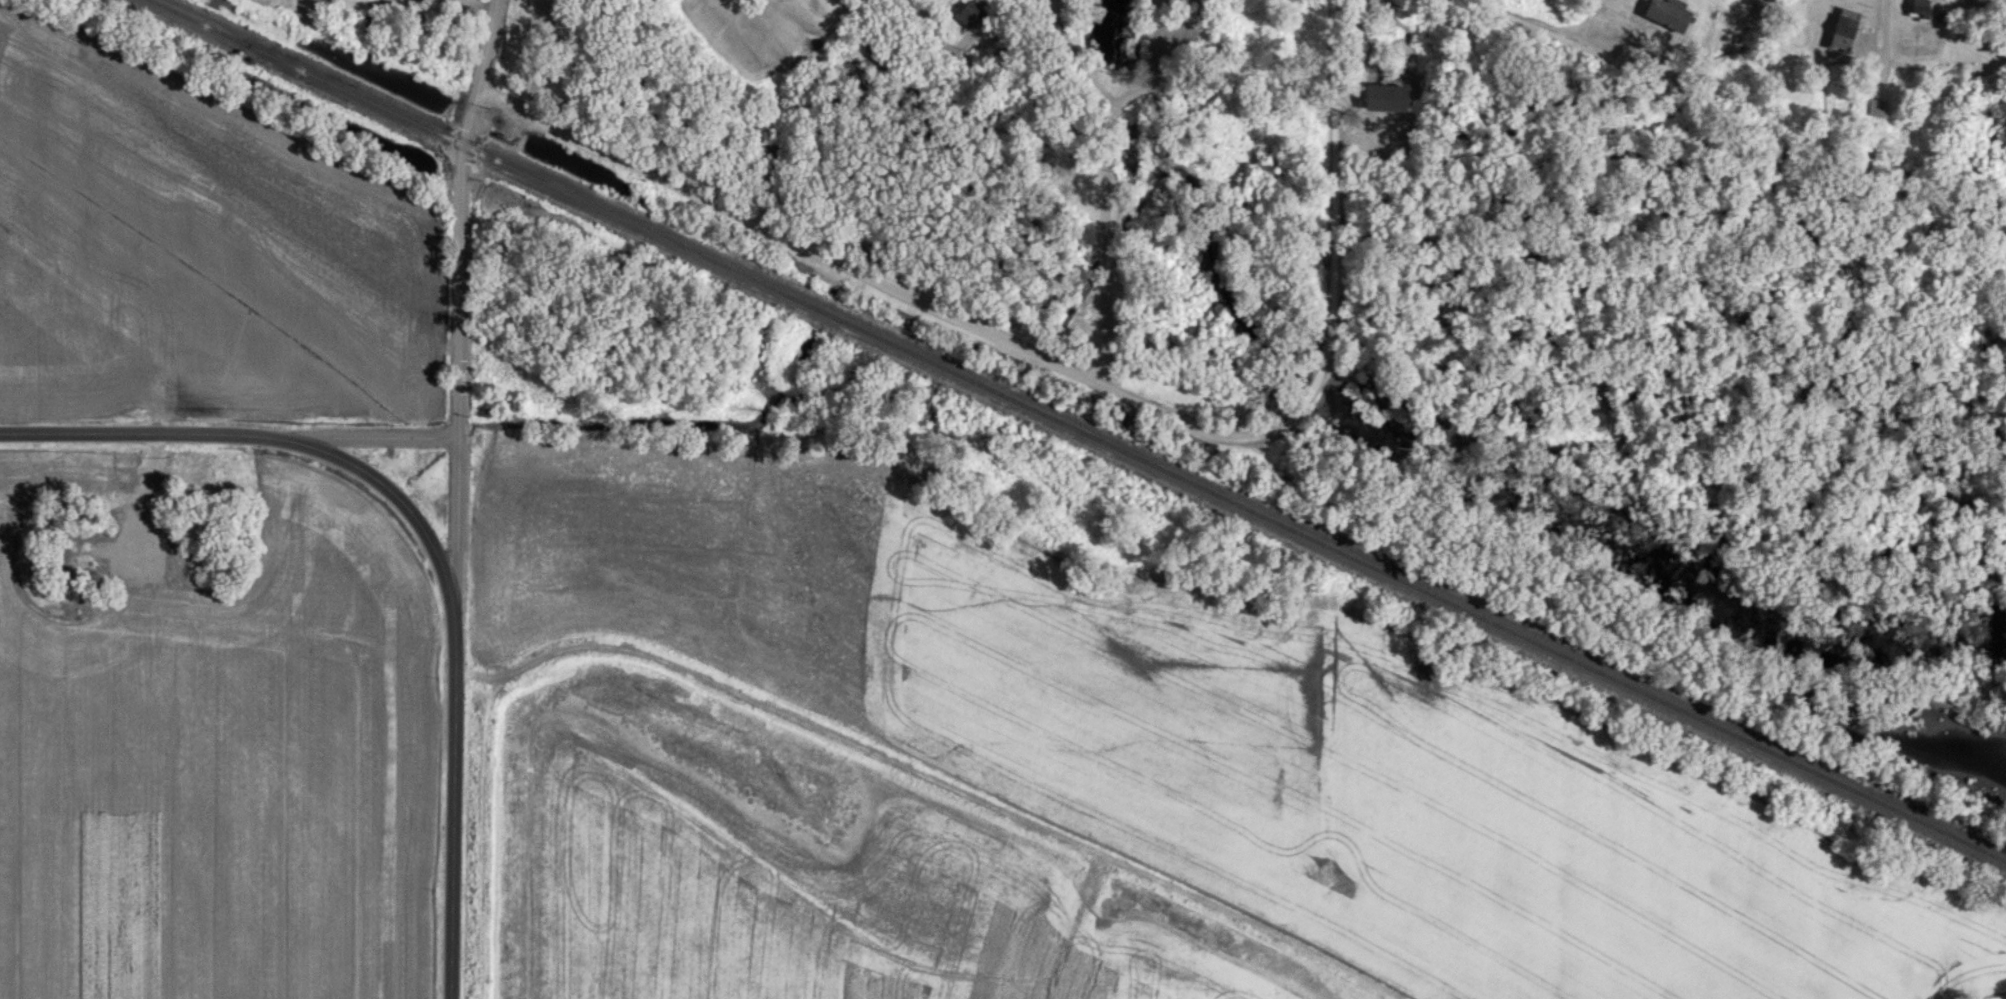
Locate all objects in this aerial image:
road: (421, 5)
road: (919, 24)
road: (1580, 47)
road: (1086, 60)
road: (1188, 67)
road: (1336, 156)
road: (462, 216)
road: (1114, 252)
road: (932, 306)
railway: (1079, 430)
road: (353, 435)
road: (426, 539)
road: (455, 540)
road: (933, 779)

